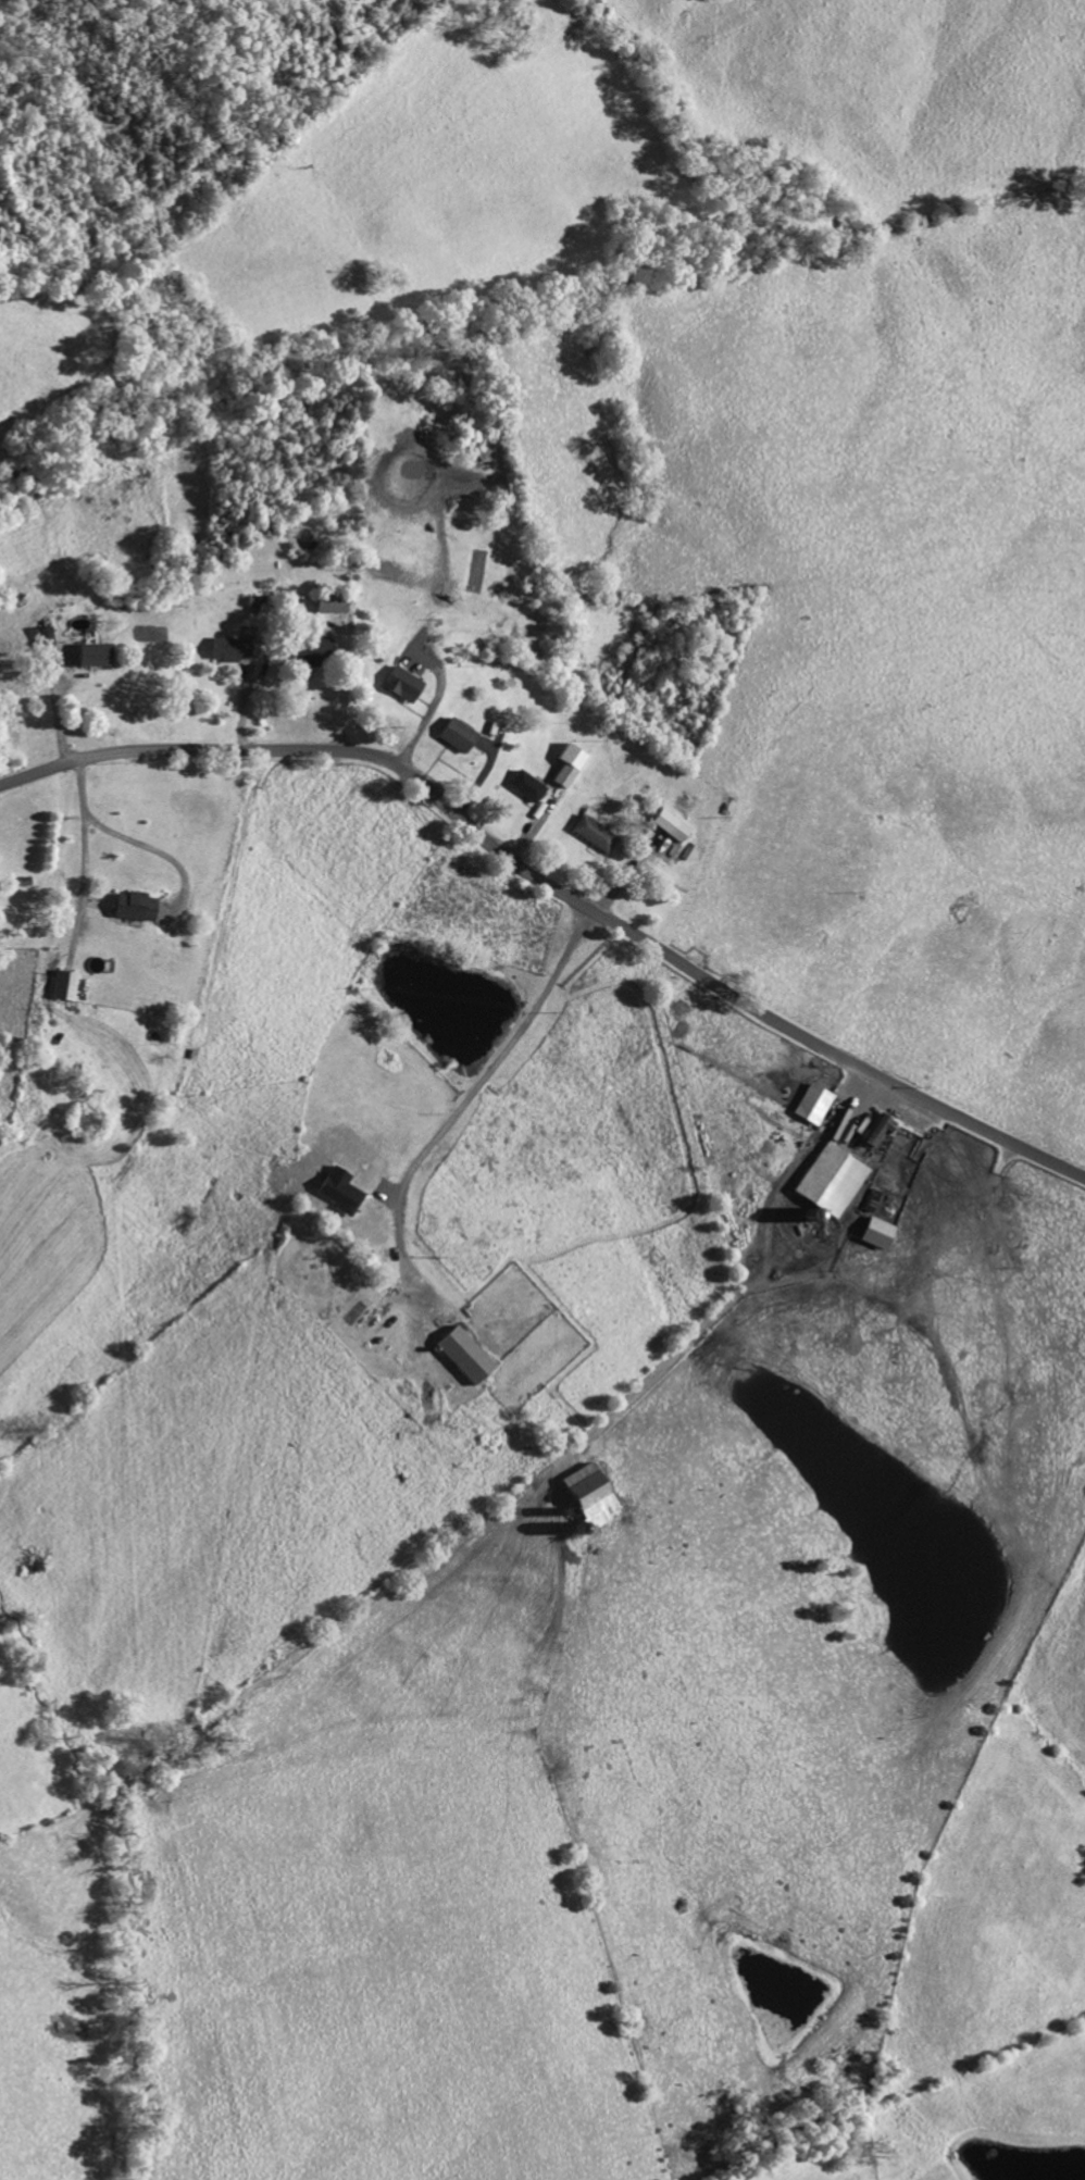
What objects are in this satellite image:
building: (327, 603)
building: (41, 637)
building: (228, 650)
building: (305, 655)
building: (92, 657)
building: (399, 686)
road: (341, 701)
road: (54, 710)
road: (425, 718)
building: (453, 736)
building: (566, 767)
building: (524, 787)
building: (668, 826)
road: (80, 832)
building: (591, 835)
building: (641, 852)
road: (554, 886)
building: (132, 908)
building: (63, 987)
building: (810, 1106)
building: (876, 1132)
building: (830, 1182)
building: (338, 1193)
building: (875, 1234)
building: (462, 1357)
building: (587, 1499)

